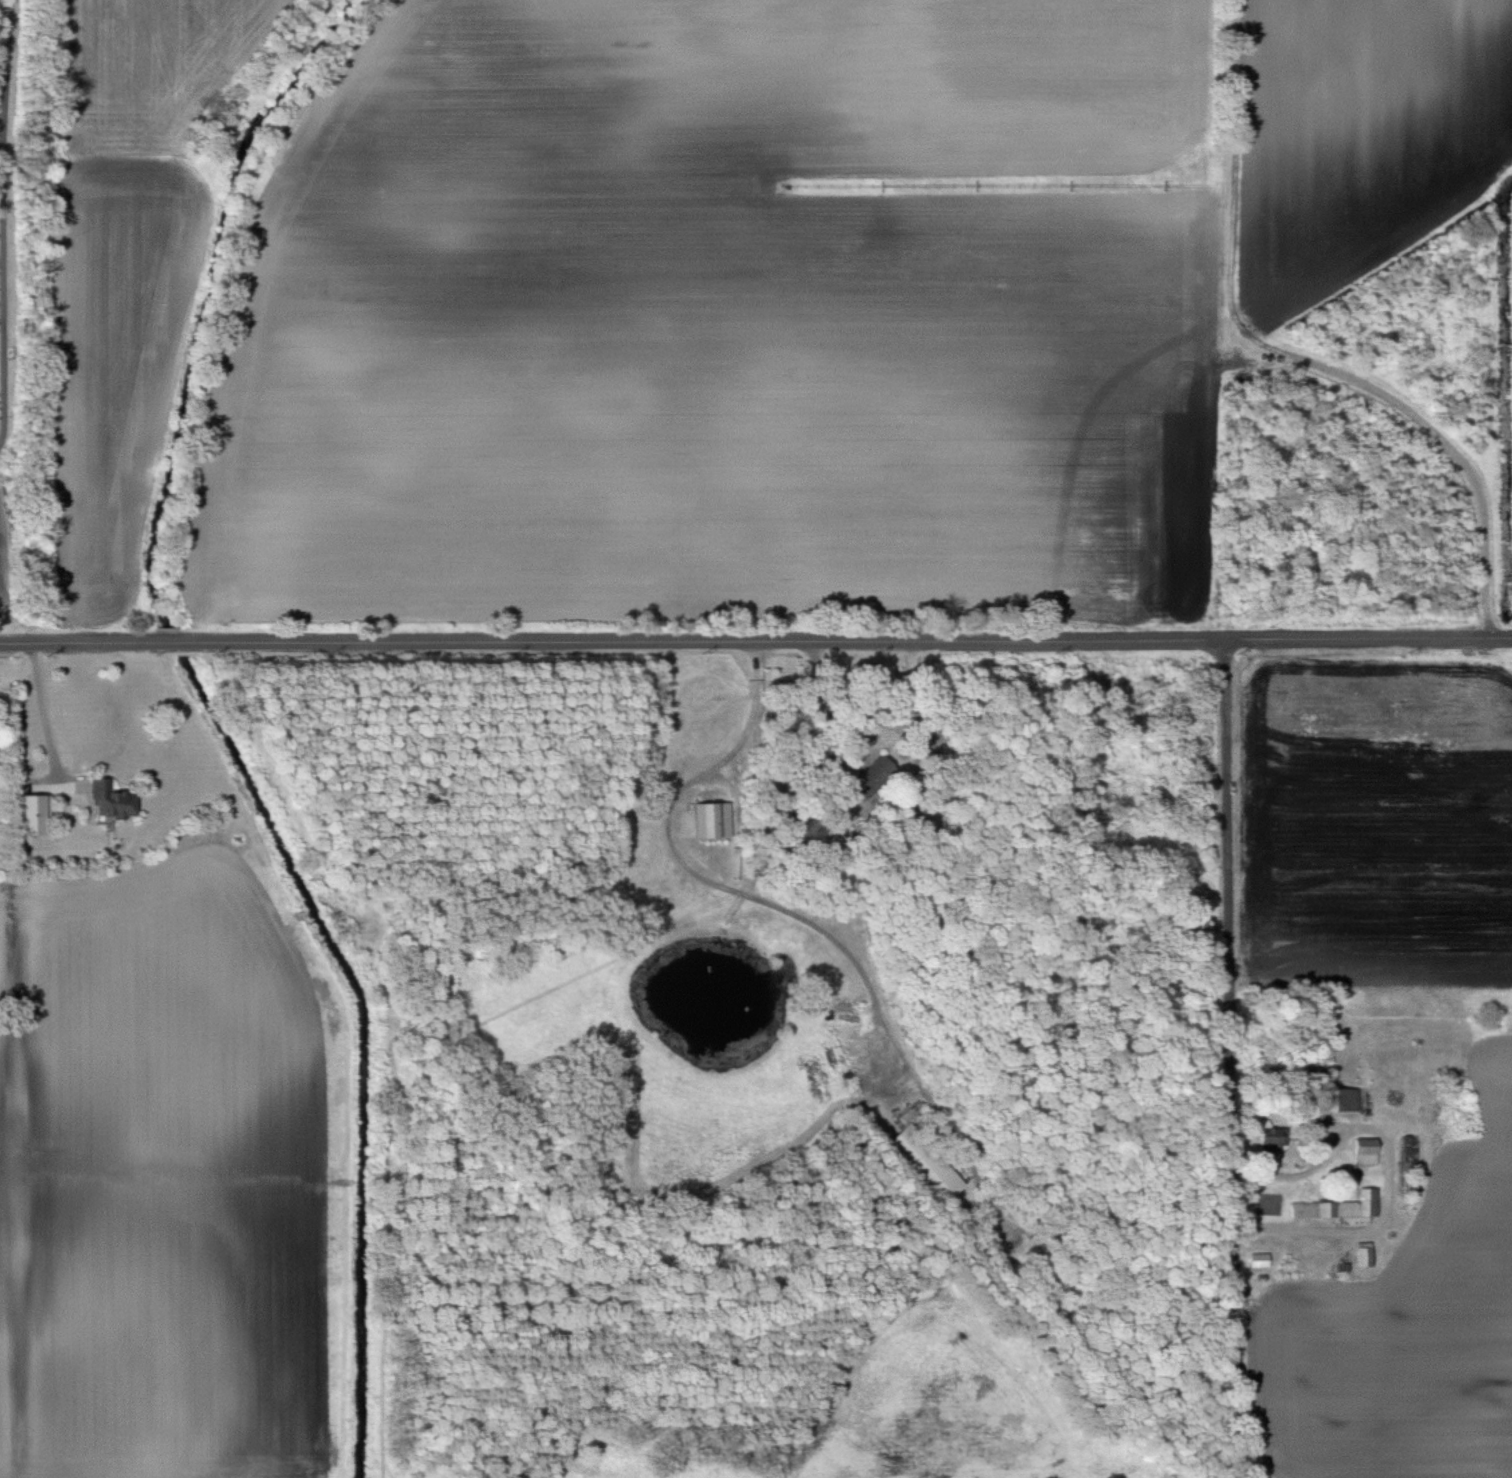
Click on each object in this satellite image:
road: (756, 641)
road: (814, 700)
road: (44, 711)
building: (874, 779)
building: (118, 800)
building: (709, 820)
road: (714, 882)
road: (1231, 1058)
building: (1338, 1100)
building: (1364, 1152)
building: (1407, 1156)
building: (922, 1163)
building: (1340, 1209)
building: (1362, 1255)
building: (1258, 1260)

